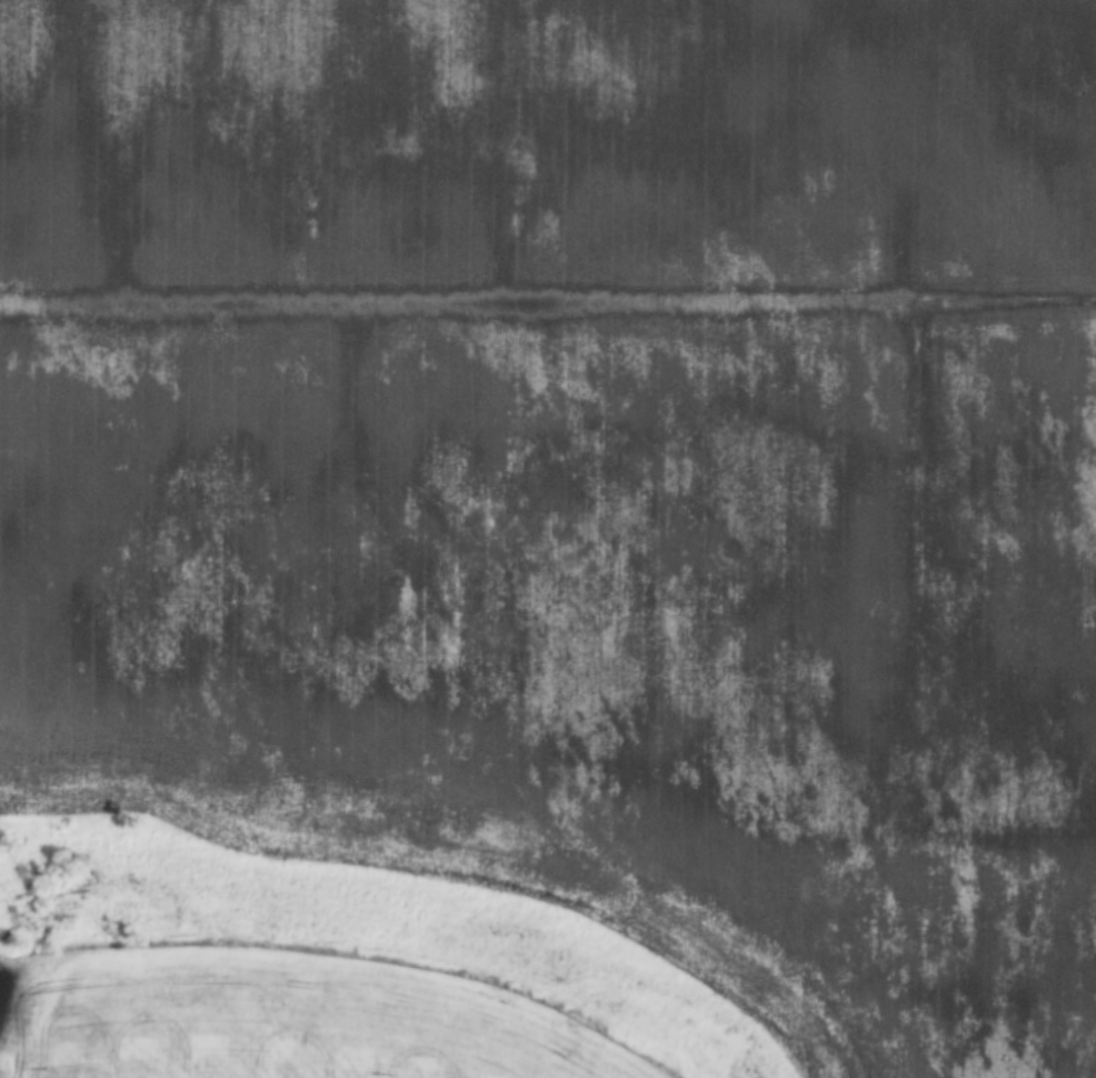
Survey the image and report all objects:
crop: (580, 472)
crop: (275, 1022)

